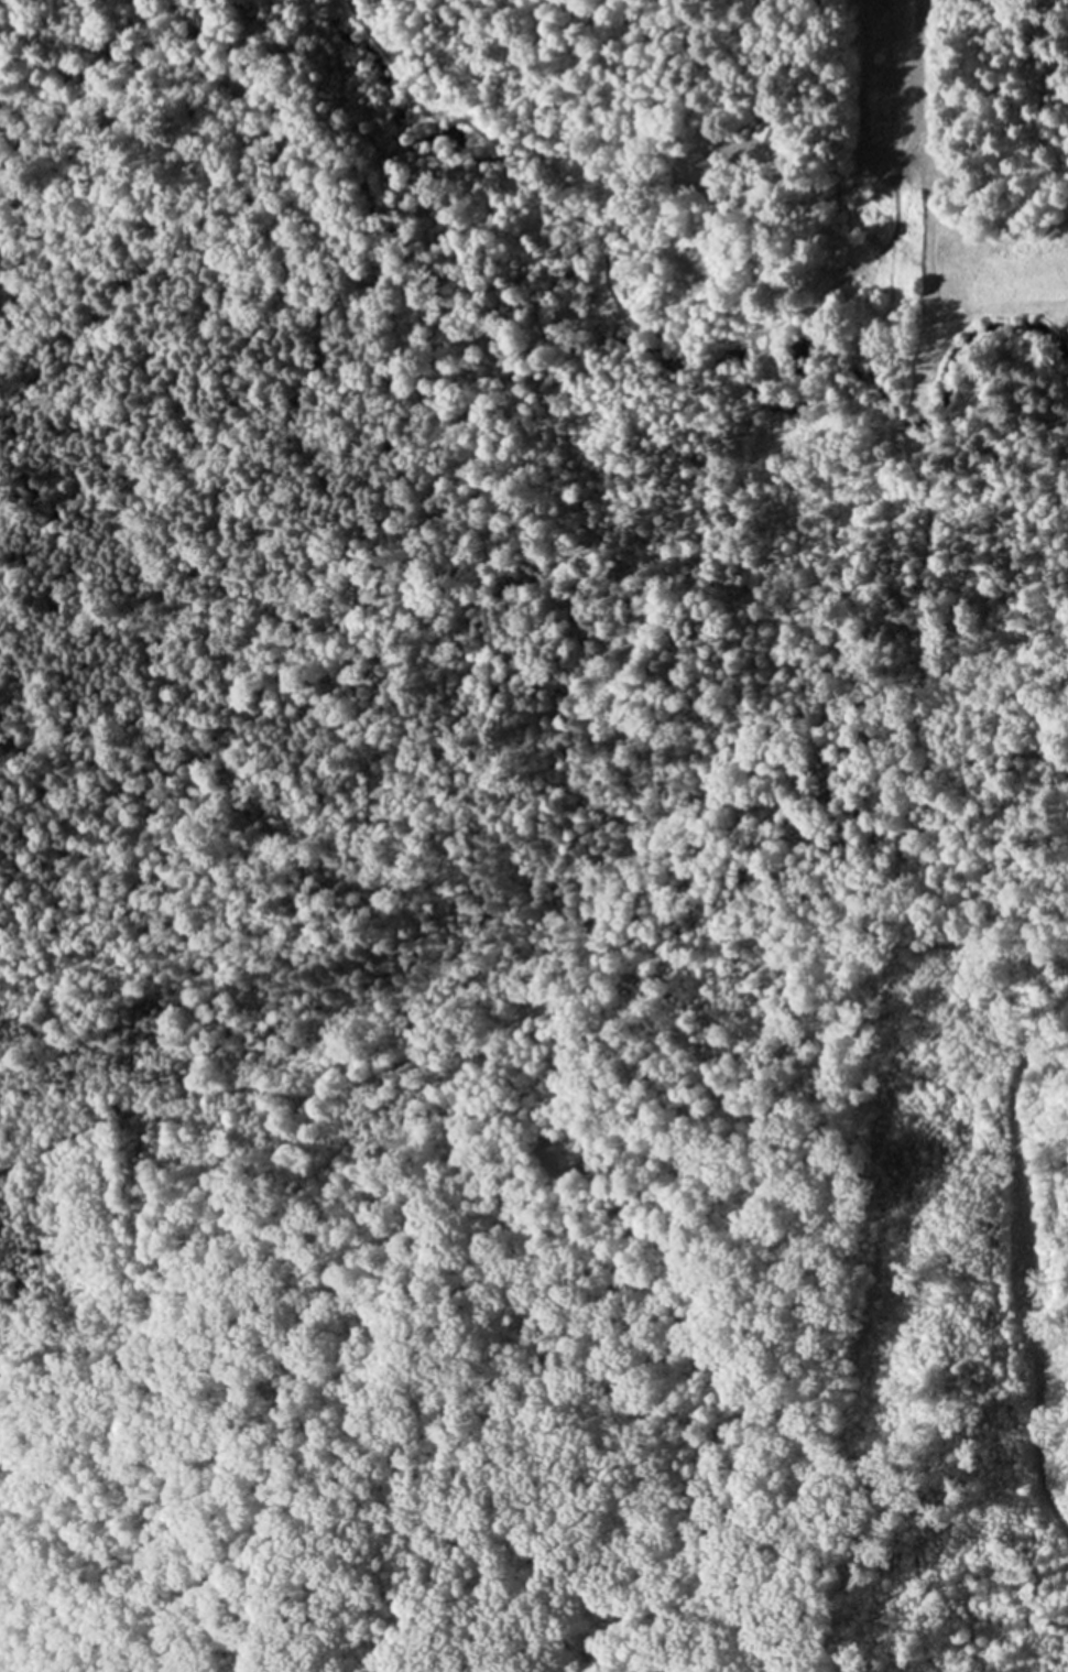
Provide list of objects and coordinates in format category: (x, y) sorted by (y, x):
road: (916, 124)

